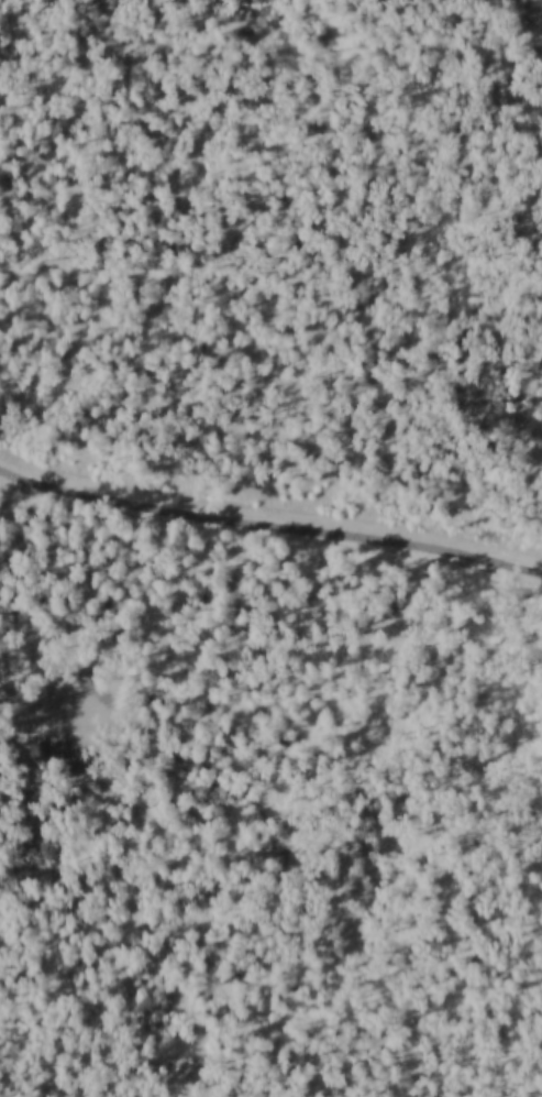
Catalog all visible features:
road: (269, 523)
park: (84, 716)
park: (263, 810)
road: (169, 888)
road: (71, 1083)

